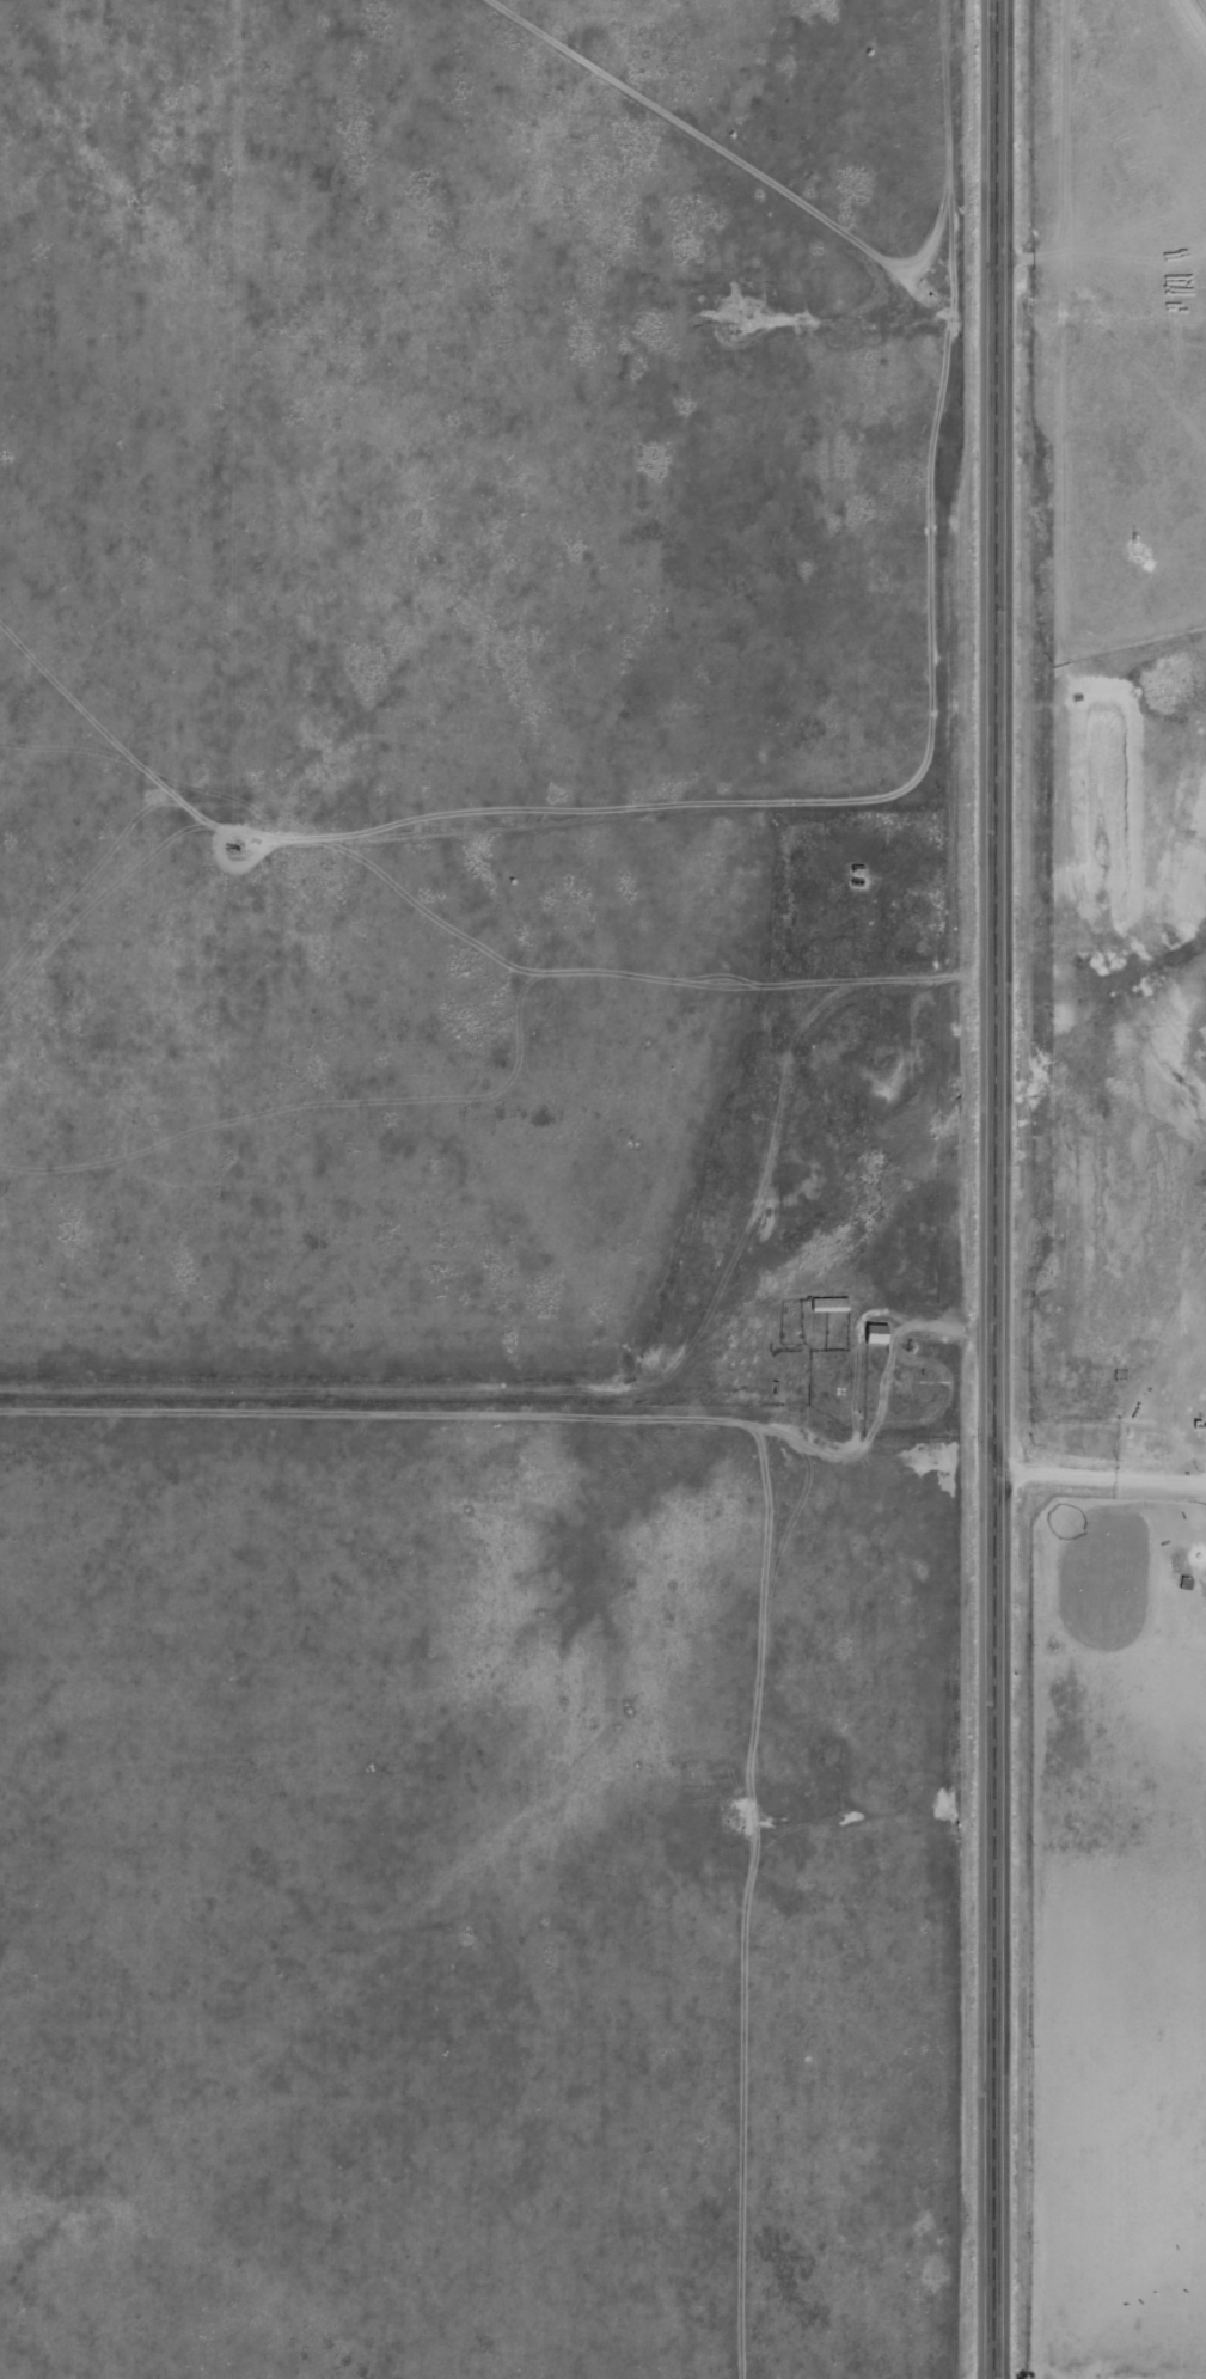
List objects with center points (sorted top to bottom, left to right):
road: (1010, 1188)
building: (833, 1304)
building: (881, 1333)

